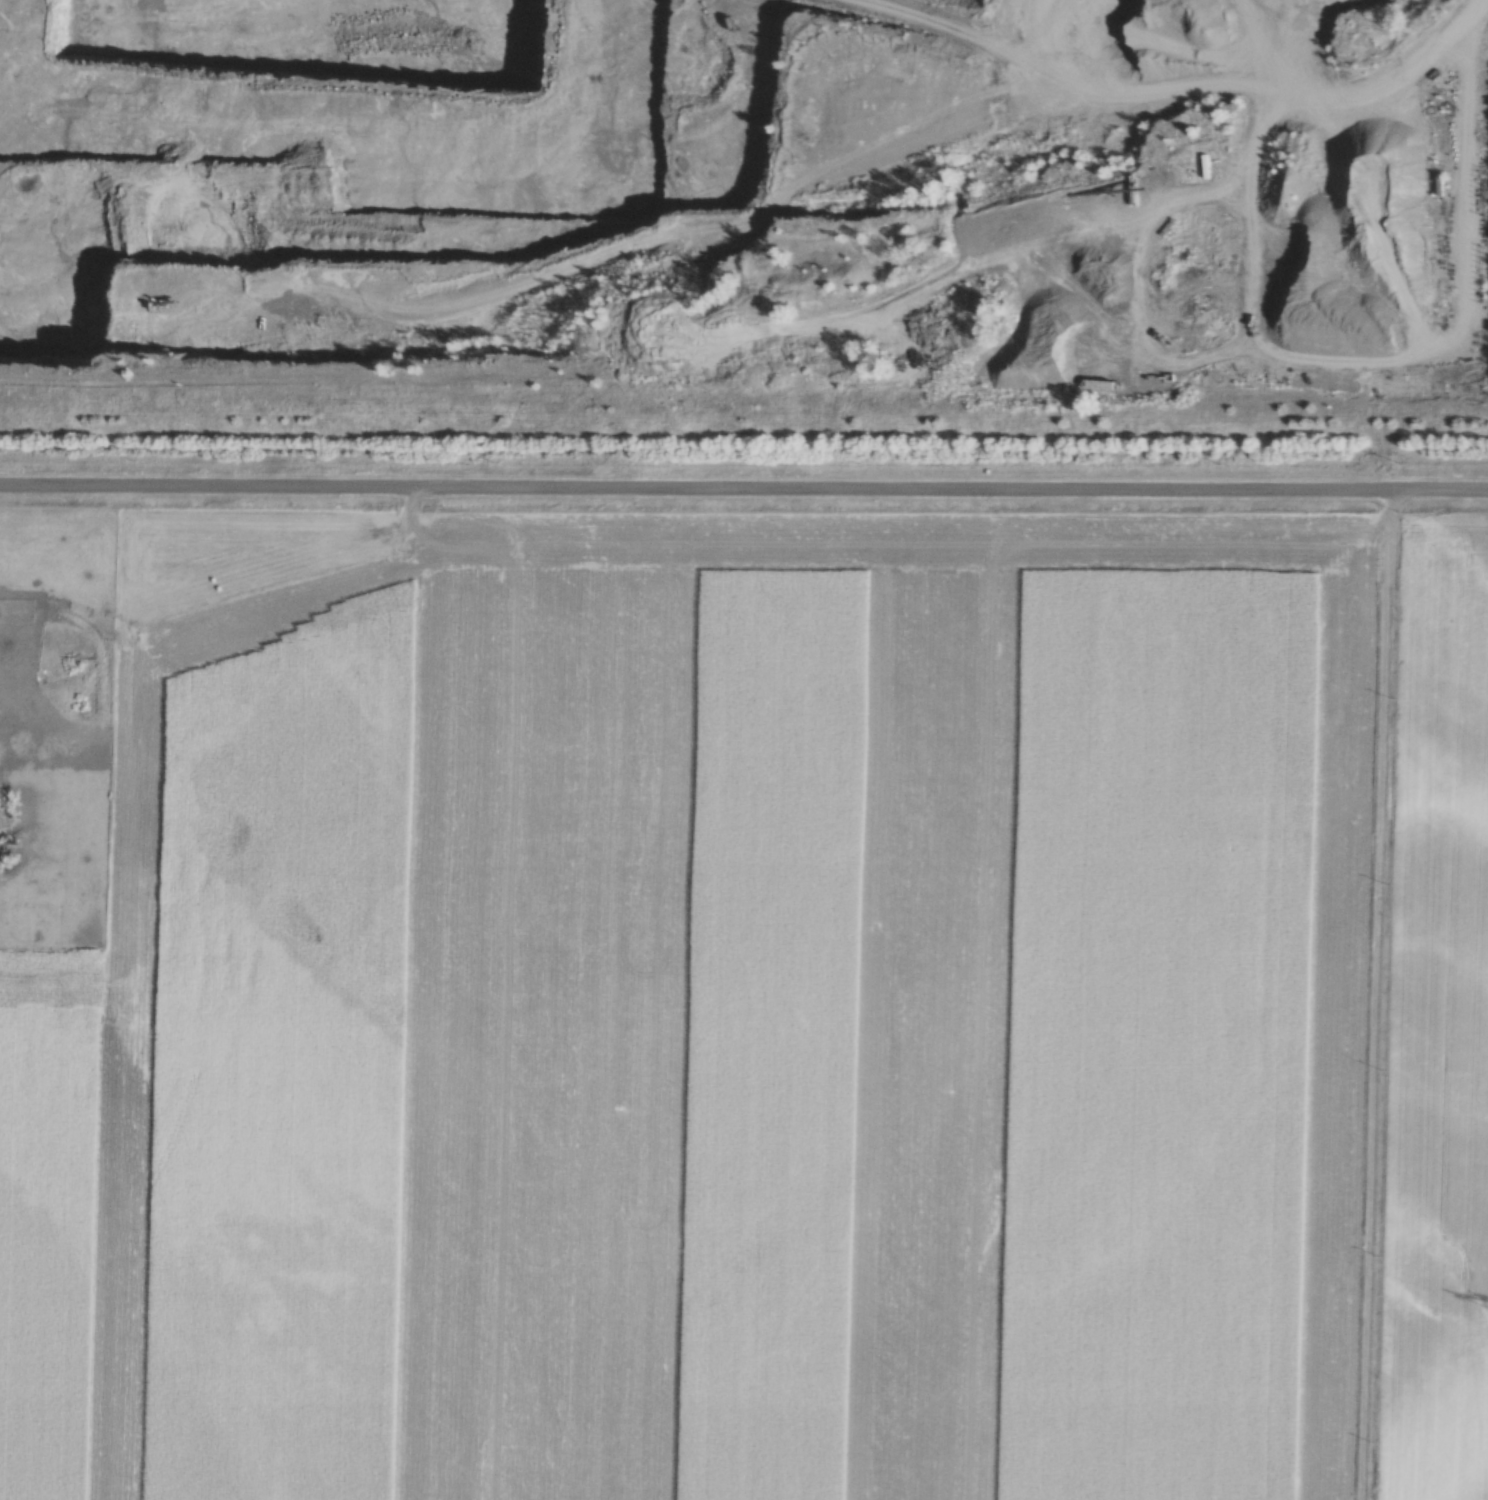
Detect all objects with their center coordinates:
quarry: (750, 200)
road: (723, 212)
road: (743, 493)

